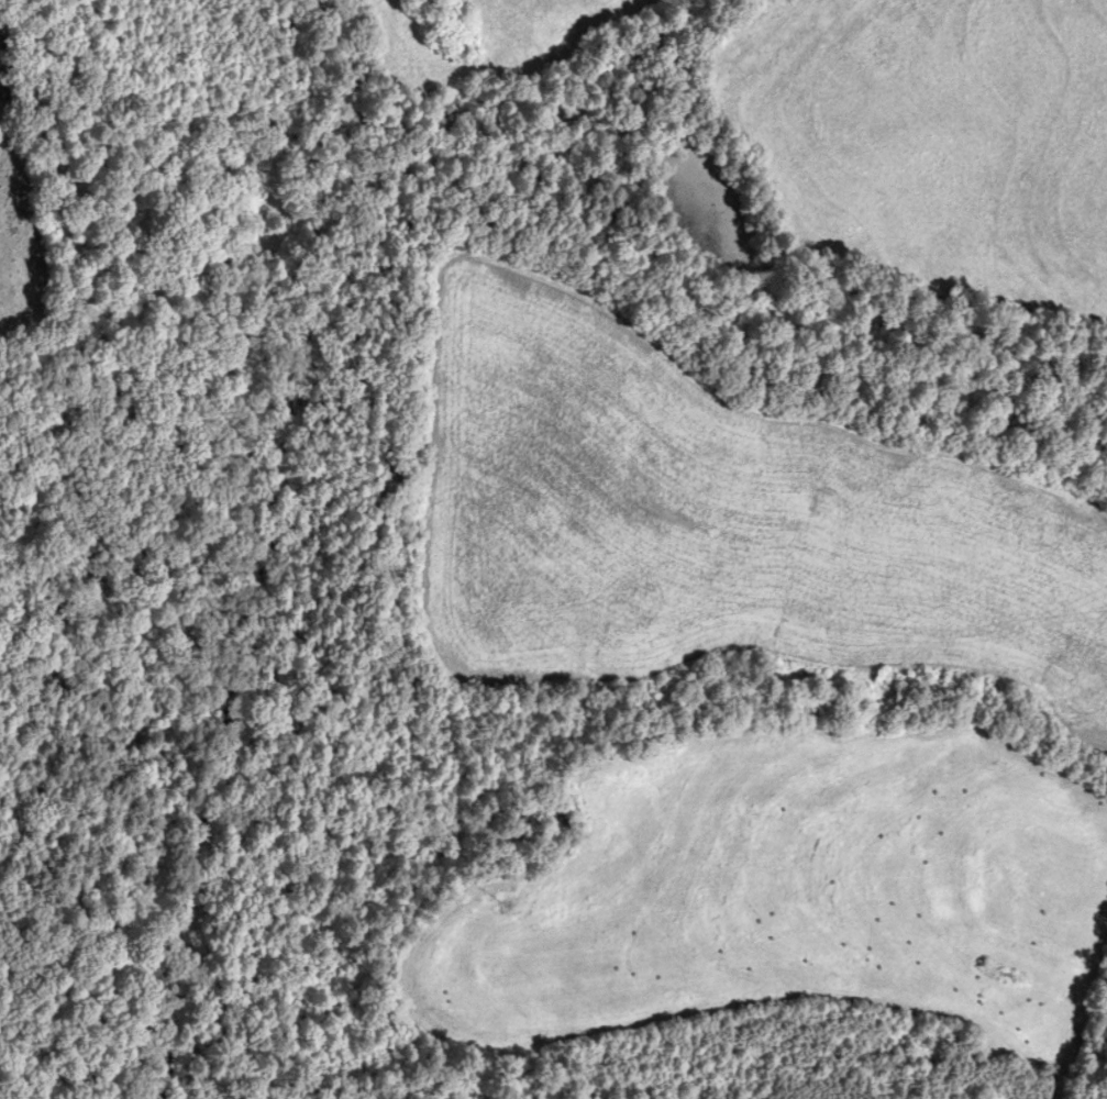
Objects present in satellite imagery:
building: (5, 31)

